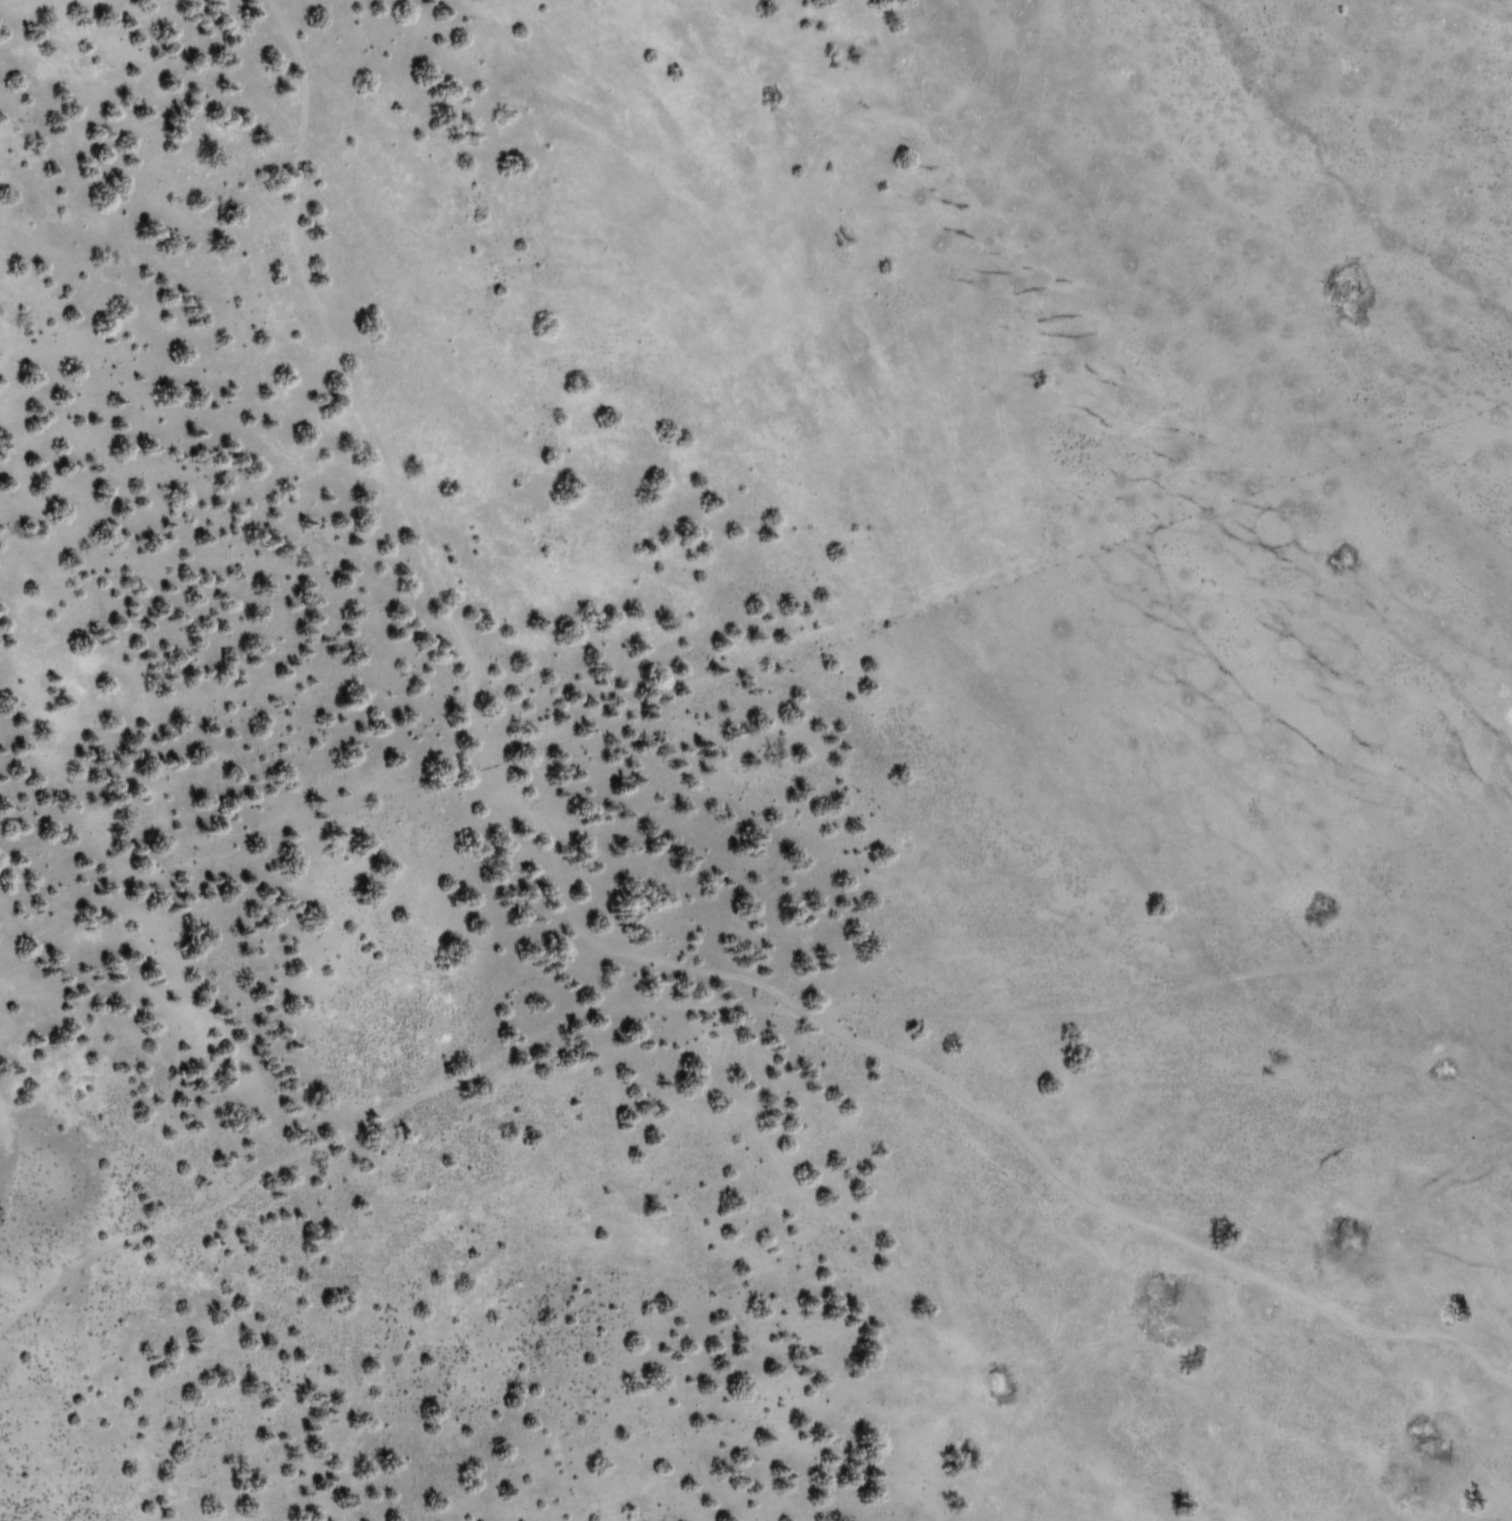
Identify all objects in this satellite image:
road: (391, 482)
road: (687, 962)

